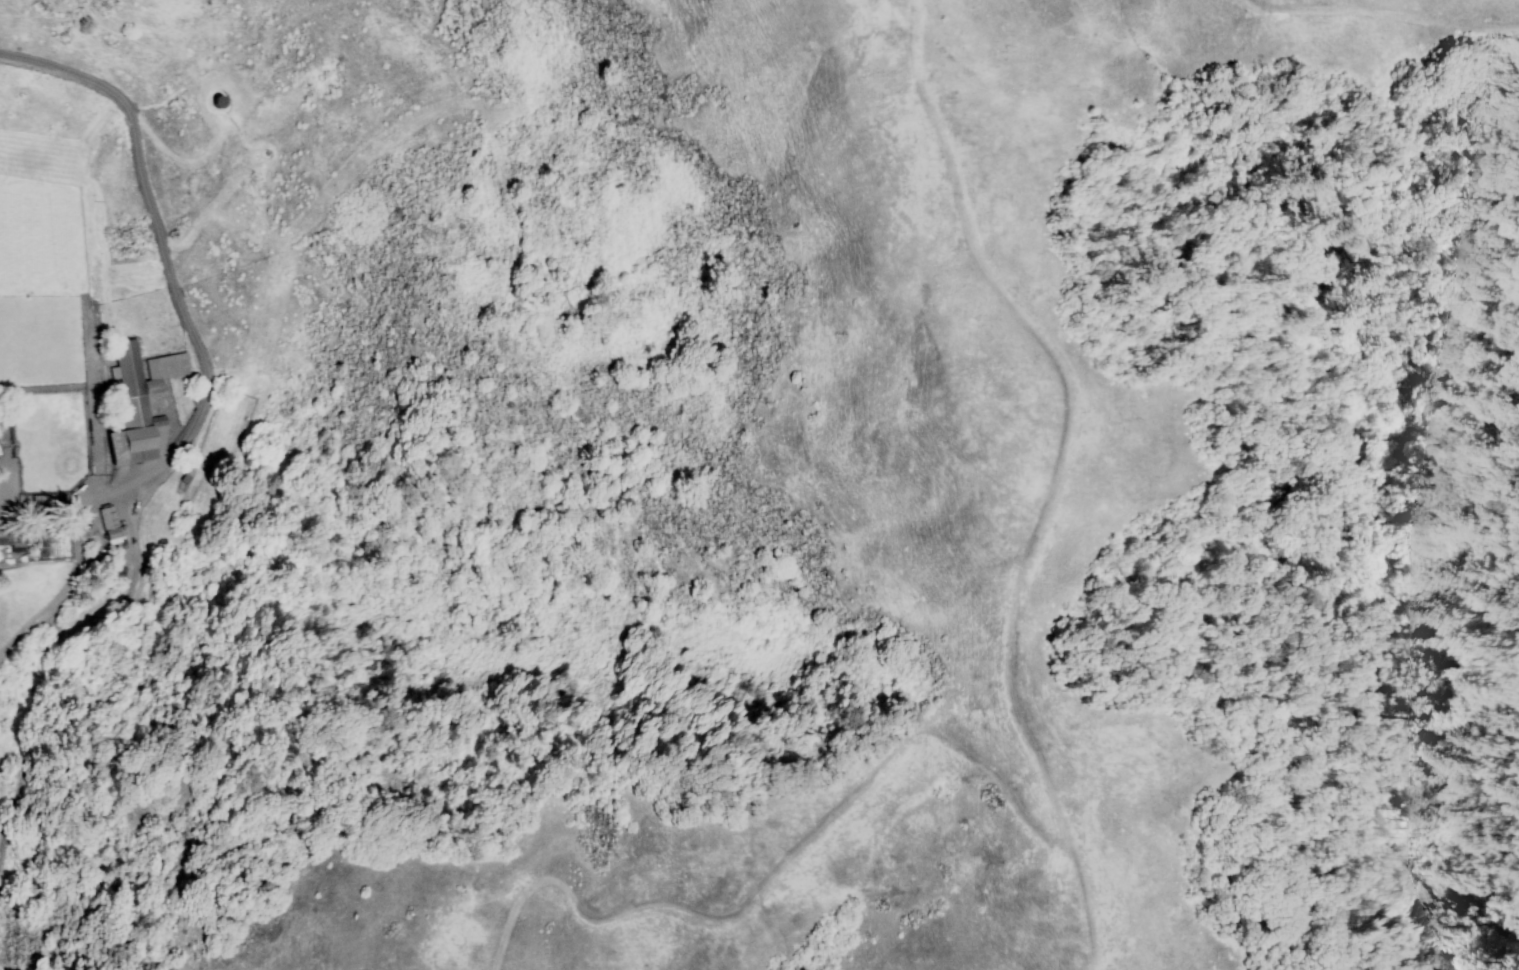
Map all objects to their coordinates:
road: (157, 231)
building: (137, 402)
building: (107, 525)

